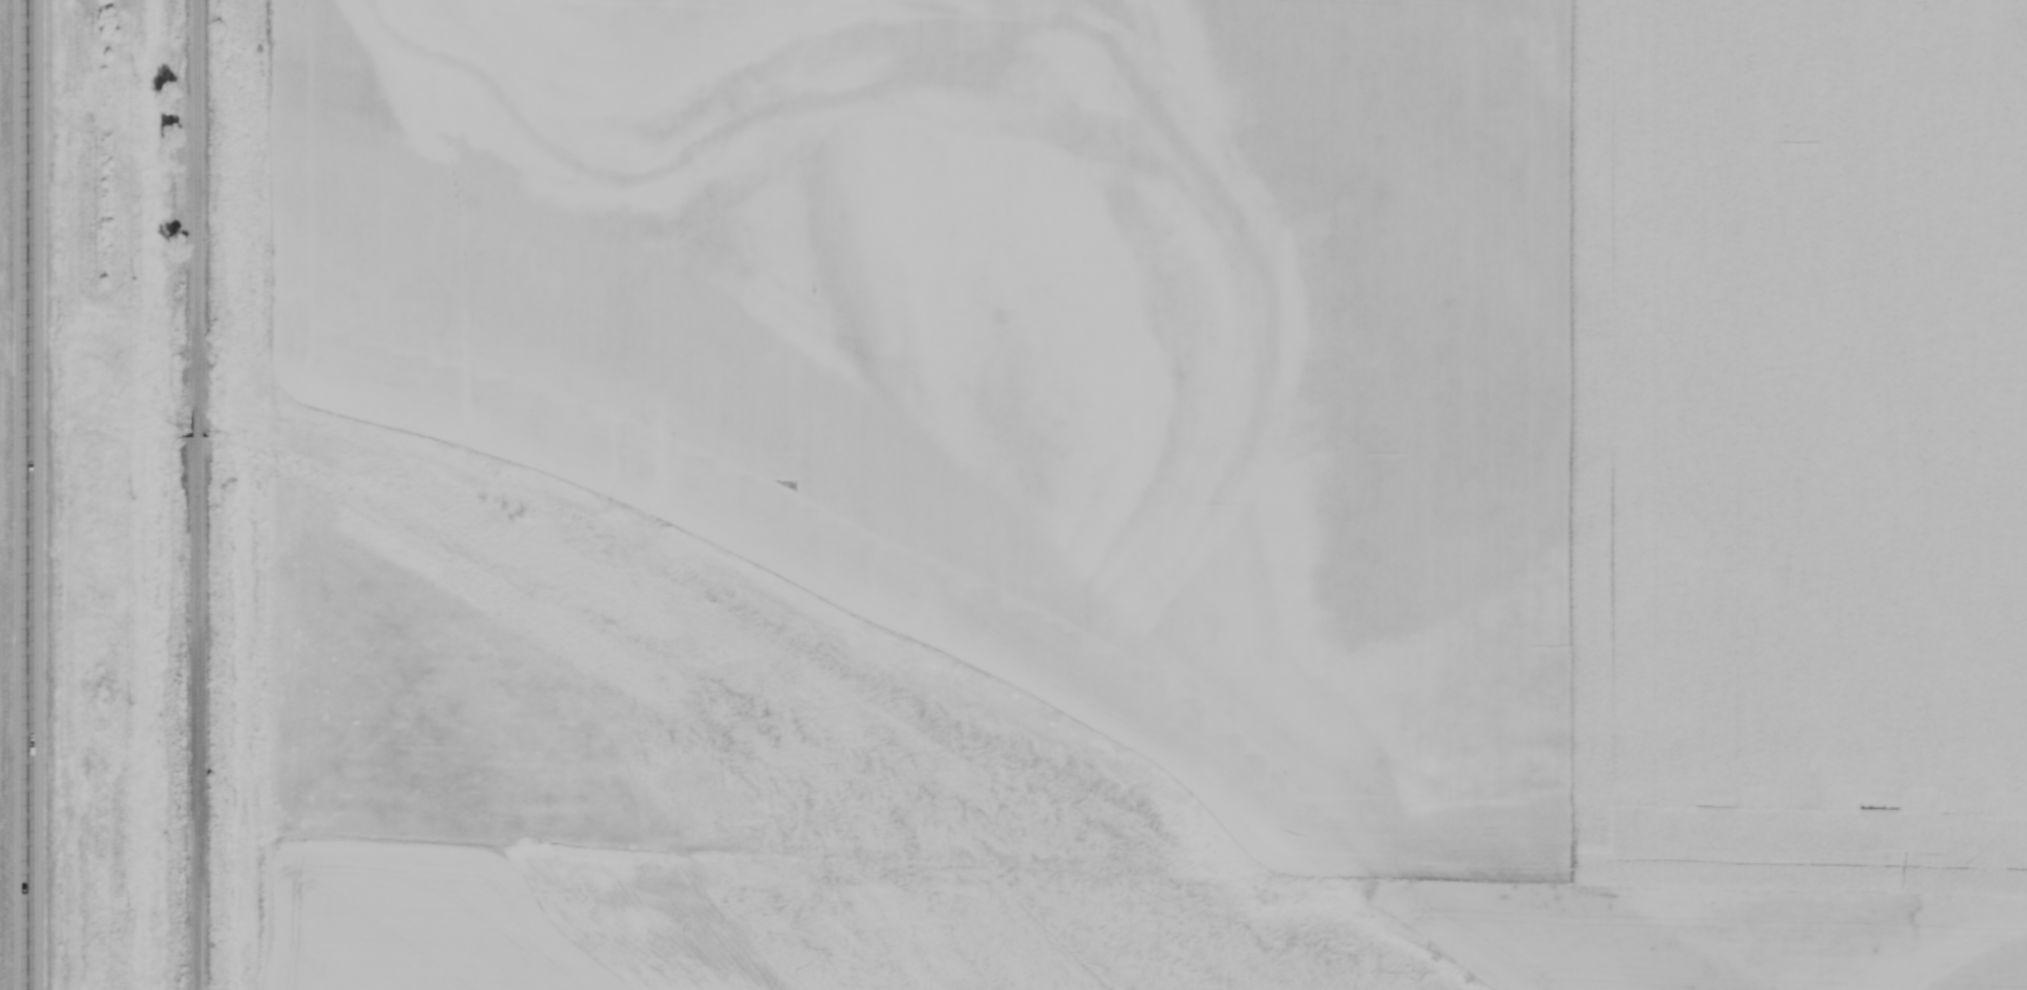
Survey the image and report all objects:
railway: (198, 203)
railway: (198, 422)
road: (27, 495)
railway: (197, 713)

